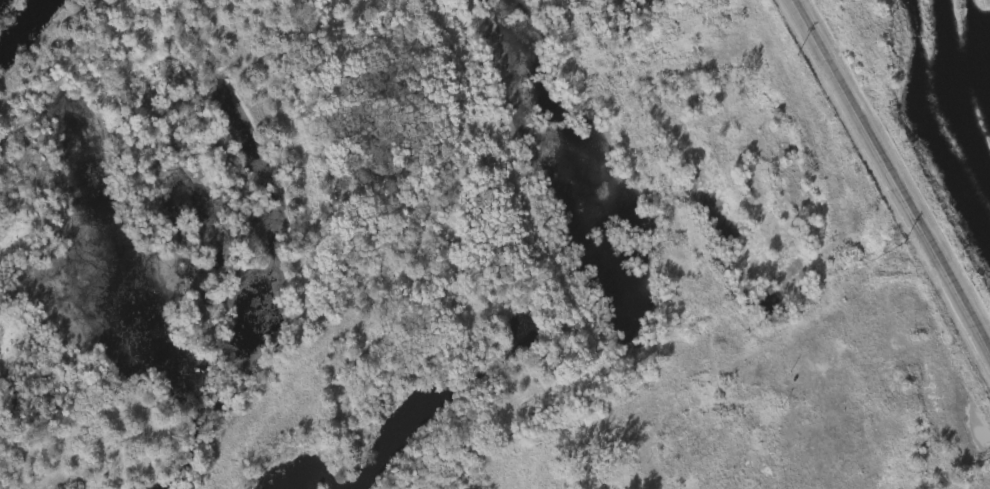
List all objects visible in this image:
road: (891, 178)
road: (891, 262)

